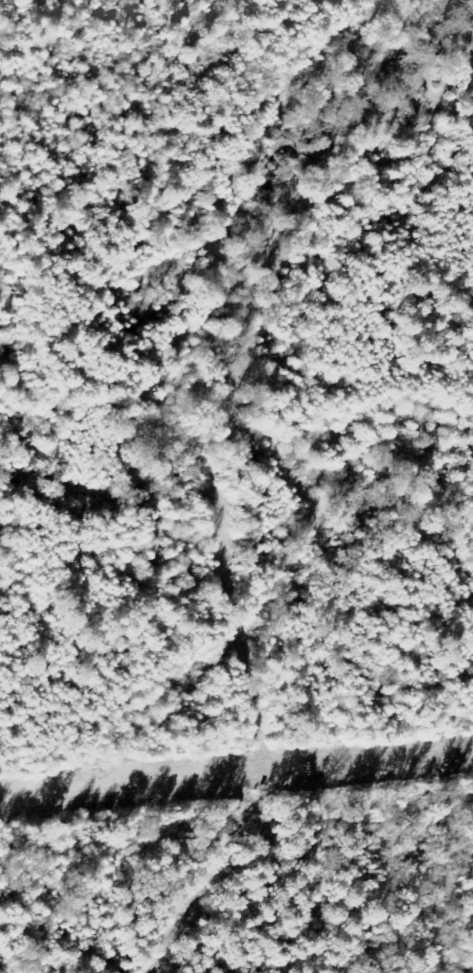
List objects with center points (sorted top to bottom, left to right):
power tower: (299, 769)

